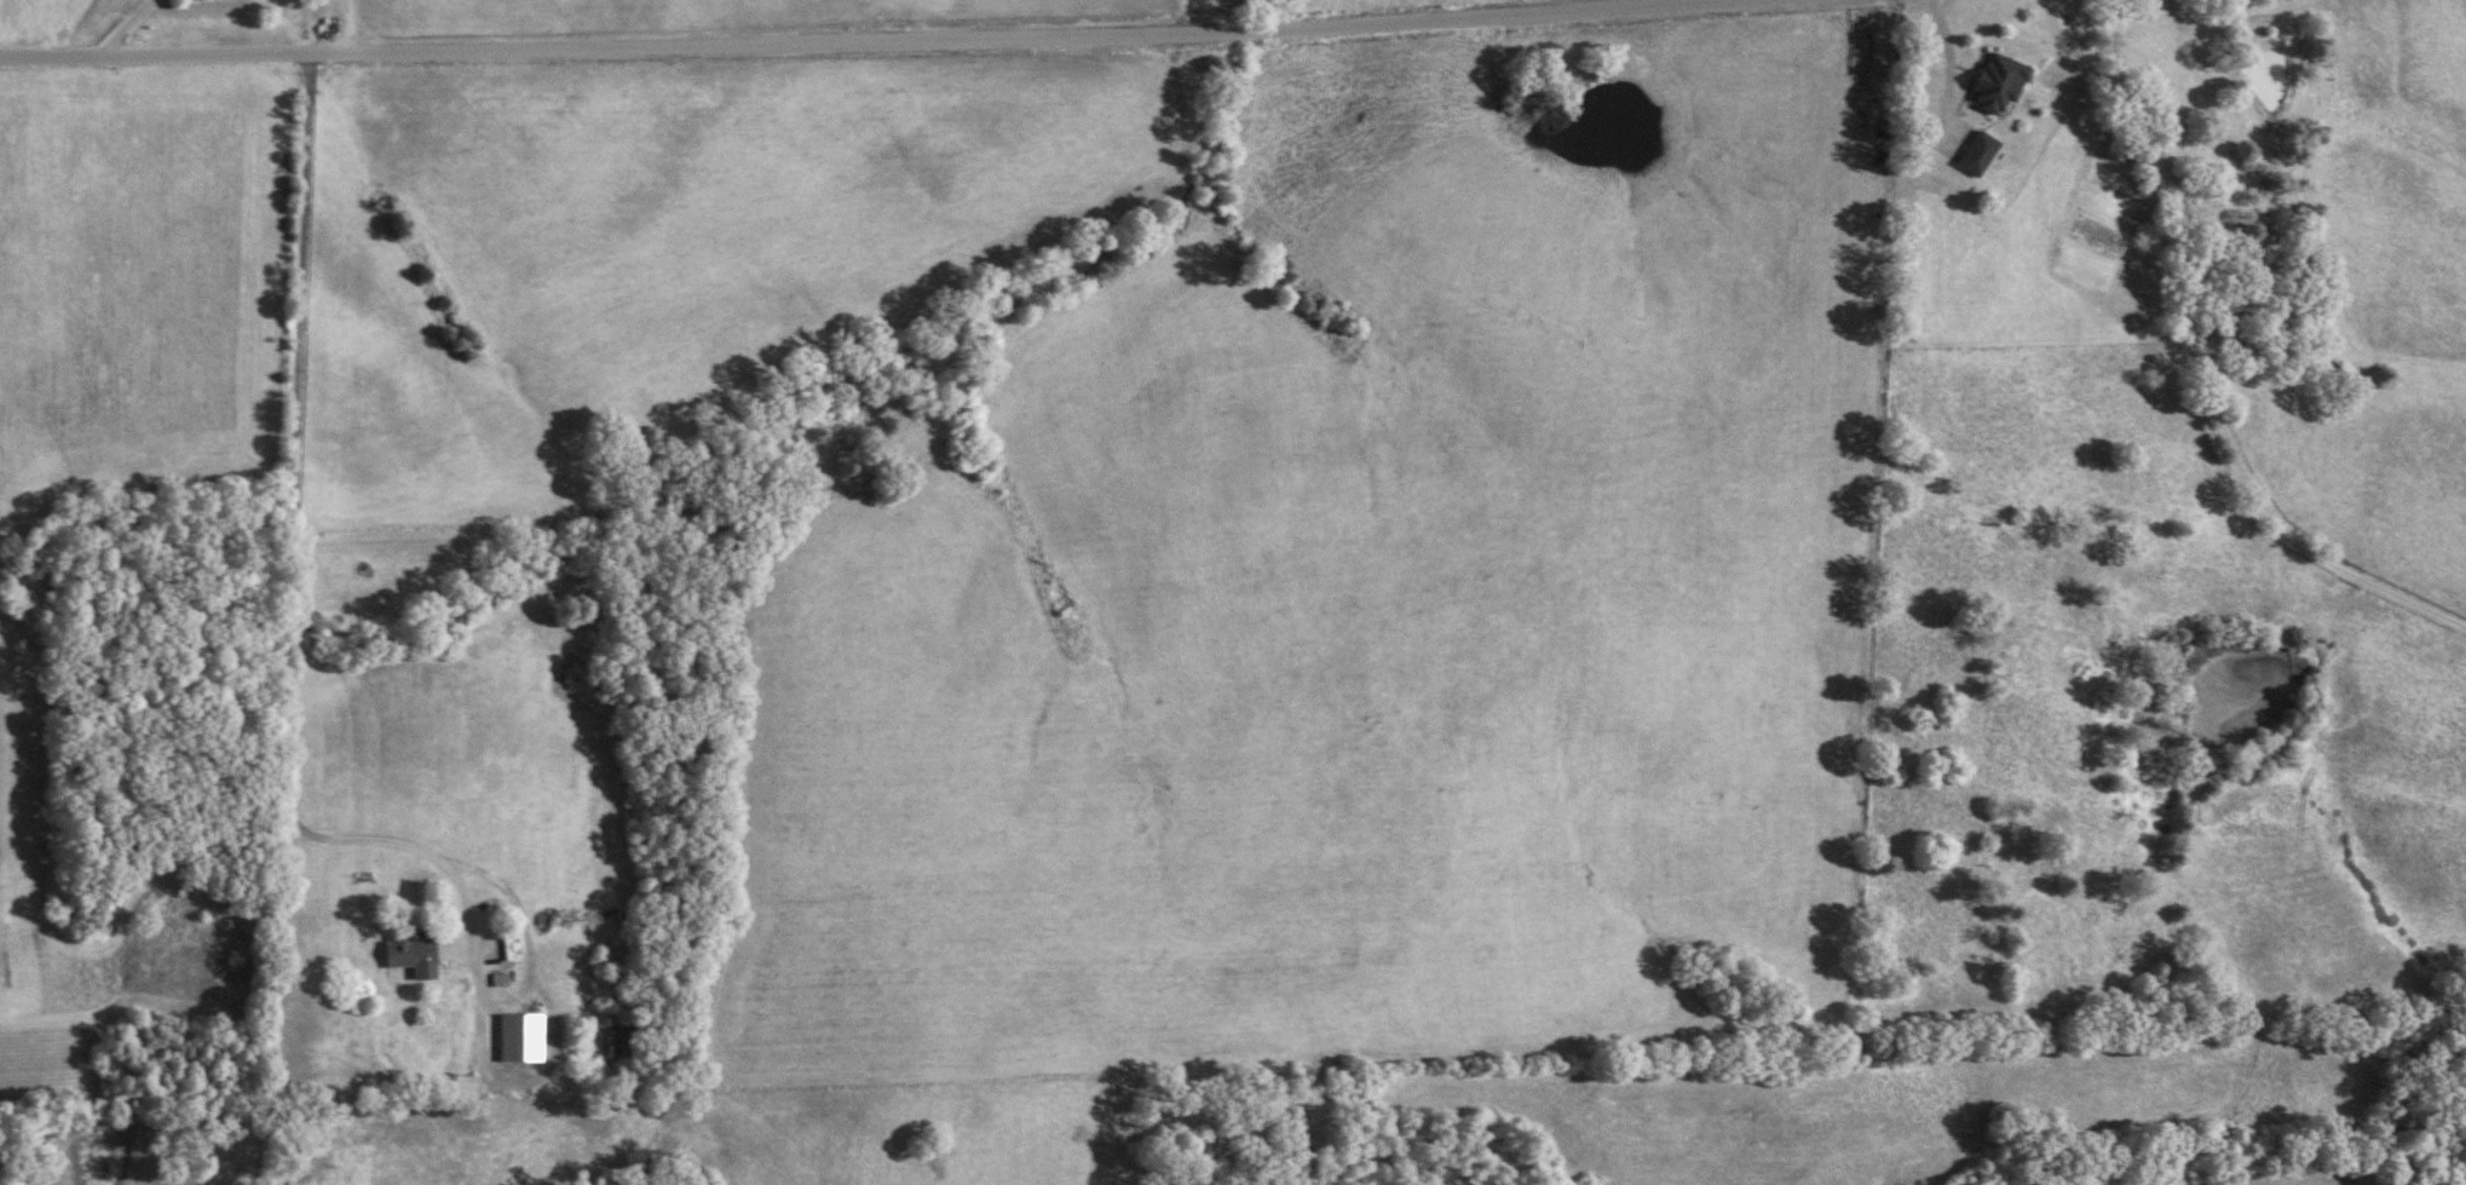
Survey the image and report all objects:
road: (1113, 12)
road: (346, 24)
road: (126, 27)
road: (796, 36)
road: (1949, 67)
building: (1993, 81)
road: (2203, 361)
road: (1106, 576)
road: (286, 788)
building: (408, 950)
building: (519, 1039)

